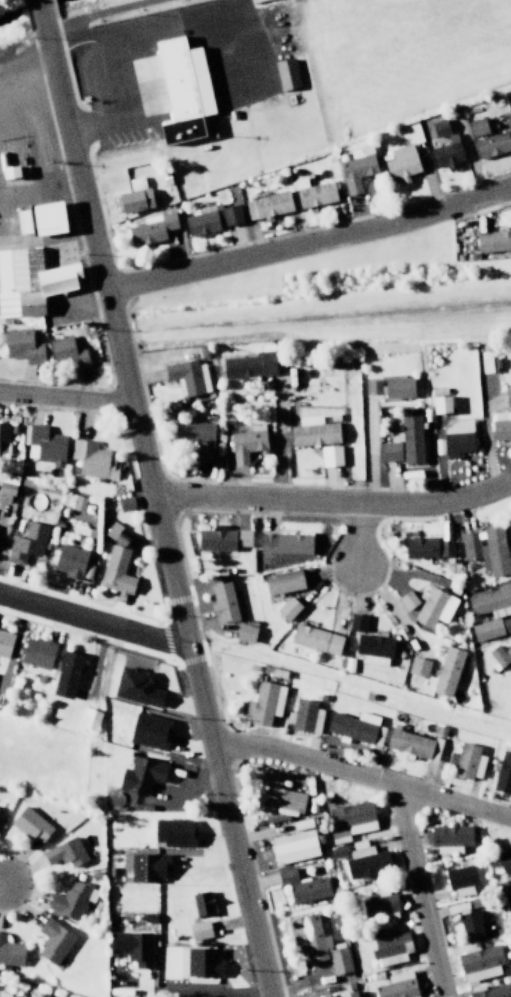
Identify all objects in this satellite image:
road: (100, 14)
road: (40, 15)
building: (186, 90)
building: (510, 108)
building: (476, 126)
building: (491, 144)
building: (443, 146)
building: (400, 163)
building: (355, 168)
building: (316, 192)
building: (132, 196)
building: (267, 205)
building: (38, 217)
building: (150, 228)
road: (309, 240)
building: (493, 240)
building: (29, 281)
building: (23, 346)
building: (67, 351)
building: (487, 361)
building: (247, 364)
building: (187, 375)
building: (390, 386)
building: (507, 396)
road: (65, 398)
building: (439, 403)
building: (500, 426)
building: (192, 431)
building: (312, 431)
building: (456, 437)
building: (4, 438)
building: (403, 442)
building: (246, 443)
building: (45, 445)
building: (203, 452)
building: (329, 455)
building: (92, 459)
building: (79, 503)
building: (124, 503)
road: (333, 504)
road: (155, 513)
building: (118, 534)
road: (353, 538)
building: (221, 539)
building: (26, 543)
building: (284, 543)
building: (426, 547)
building: (485, 549)
building: (69, 561)
building: (116, 571)
building: (282, 581)
building: (406, 600)
building: (222, 601)
building: (490, 602)
building: (433, 608)
building: (287, 609)
road: (92, 618)
building: (357, 622)
building: (486, 629)
building: (244, 633)
building: (315, 639)
building: (5, 643)
building: (373, 649)
building: (36, 652)
building: (500, 655)
building: (418, 666)
building: (447, 671)
building: (66, 674)
building: (135, 687)
building: (263, 703)
building: (305, 716)
building: (88, 719)
building: (355, 727)
building: (148, 731)
building: (413, 744)
building: (466, 761)
road: (362, 773)
building: (503, 773)
building: (139, 775)
building: (279, 797)
building: (348, 820)
building: (29, 825)
building: (172, 832)
building: (447, 838)
building: (292, 847)
building: (65, 853)
building: (364, 860)
building: (504, 860)
building: (147, 867)
building: (460, 879)
building: (301, 886)
road: (413, 888)
building: (71, 899)
building: (508, 901)
building: (379, 903)
building: (199, 904)
building: (470, 924)
building: (198, 930)
building: (52, 941)
building: (317, 943)
building: (131, 947)
building: (389, 949)
building: (10, 953)
building: (198, 962)
building: (479, 963)
building: (396, 985)
building: (489, 991)
building: (346, 994)
building: (5, 995)
building: (42, 995)
building: (329, 996)

